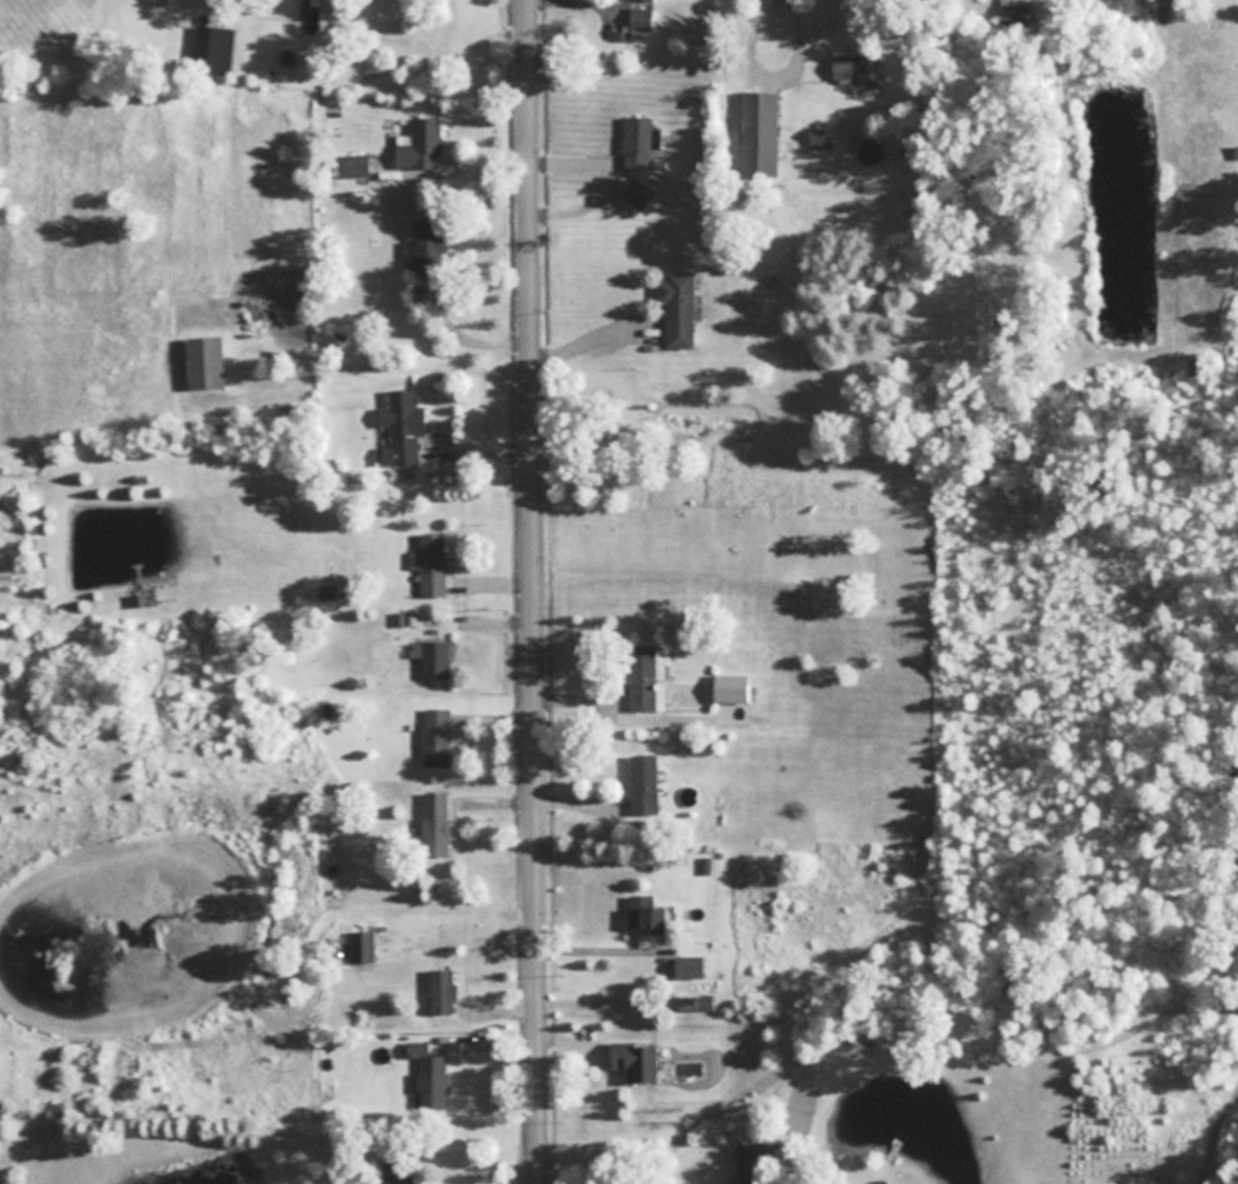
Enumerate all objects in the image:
building: (1012, 6)
building: (639, 16)
building: (207, 45)
building: (856, 65)
road: (765, 70)
building: (759, 132)
building: (638, 140)
building: (819, 140)
building: (419, 144)
building: (357, 165)
building: (638, 194)
building: (426, 246)
building: (676, 308)
road: (589, 331)
road: (459, 334)
building: (205, 362)
building: (401, 426)
building: (431, 563)
road: (534, 592)
building: (327, 593)
building: (138, 598)
building: (434, 659)
building: (643, 677)
building: (730, 685)
building: (436, 735)
building: (643, 783)
building: (434, 821)
road: (459, 909)
building: (649, 913)
building: (361, 943)
building: (689, 965)
building: (441, 988)
building: (635, 1059)
building: (431, 1079)
building: (749, 1162)
building: (396, 1171)

